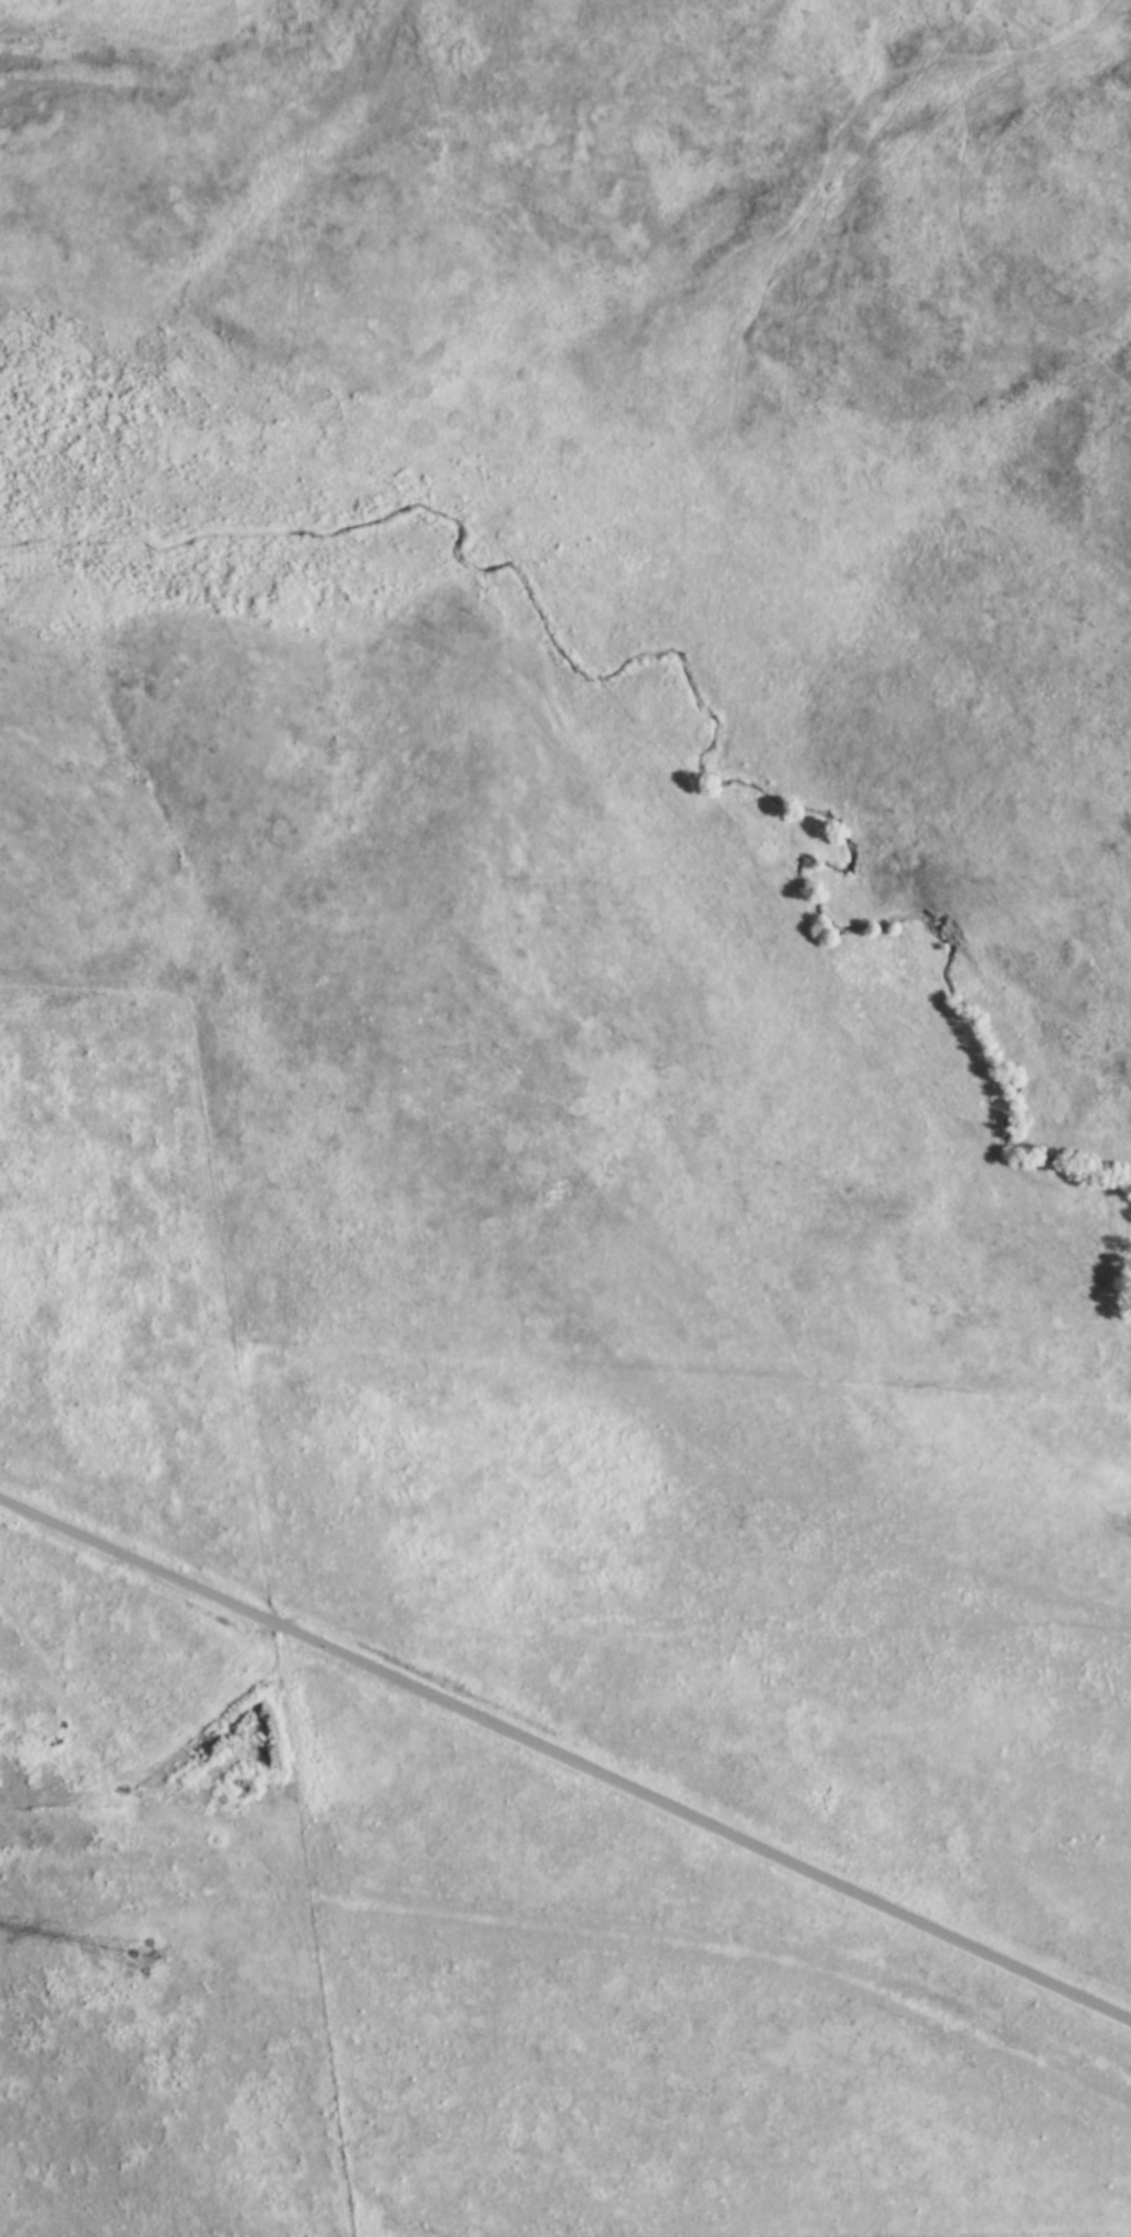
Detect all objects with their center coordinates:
road: (565, 1756)
power tower: (142, 1956)

